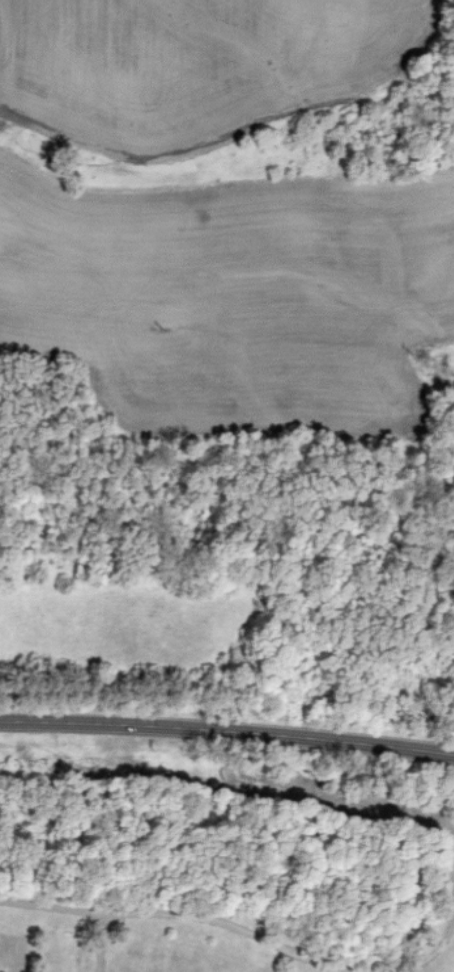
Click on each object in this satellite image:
road: (227, 730)

